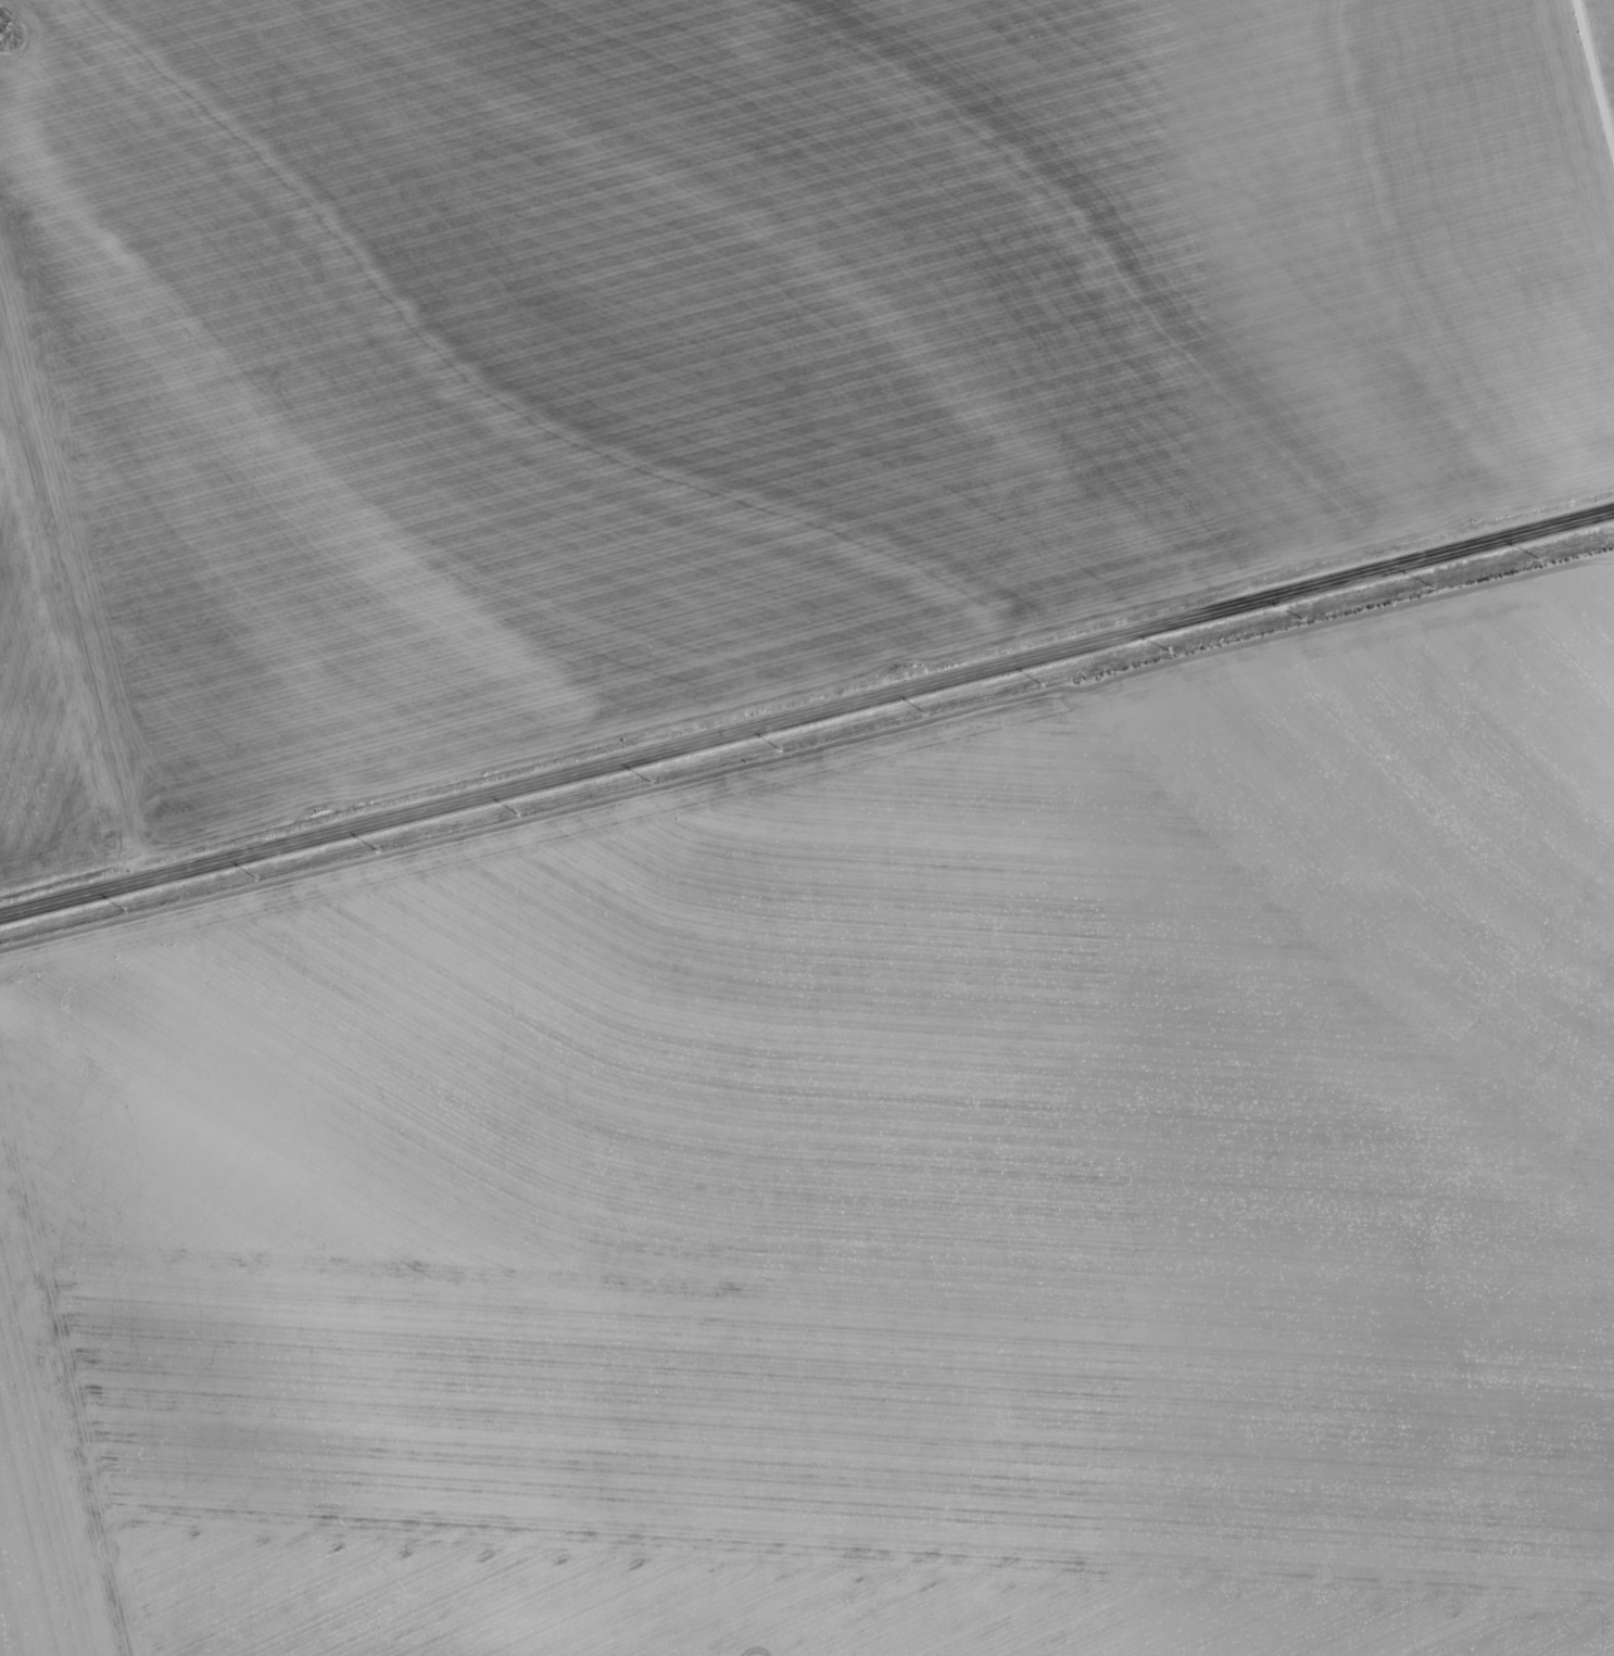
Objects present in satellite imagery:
road: (807, 711)

